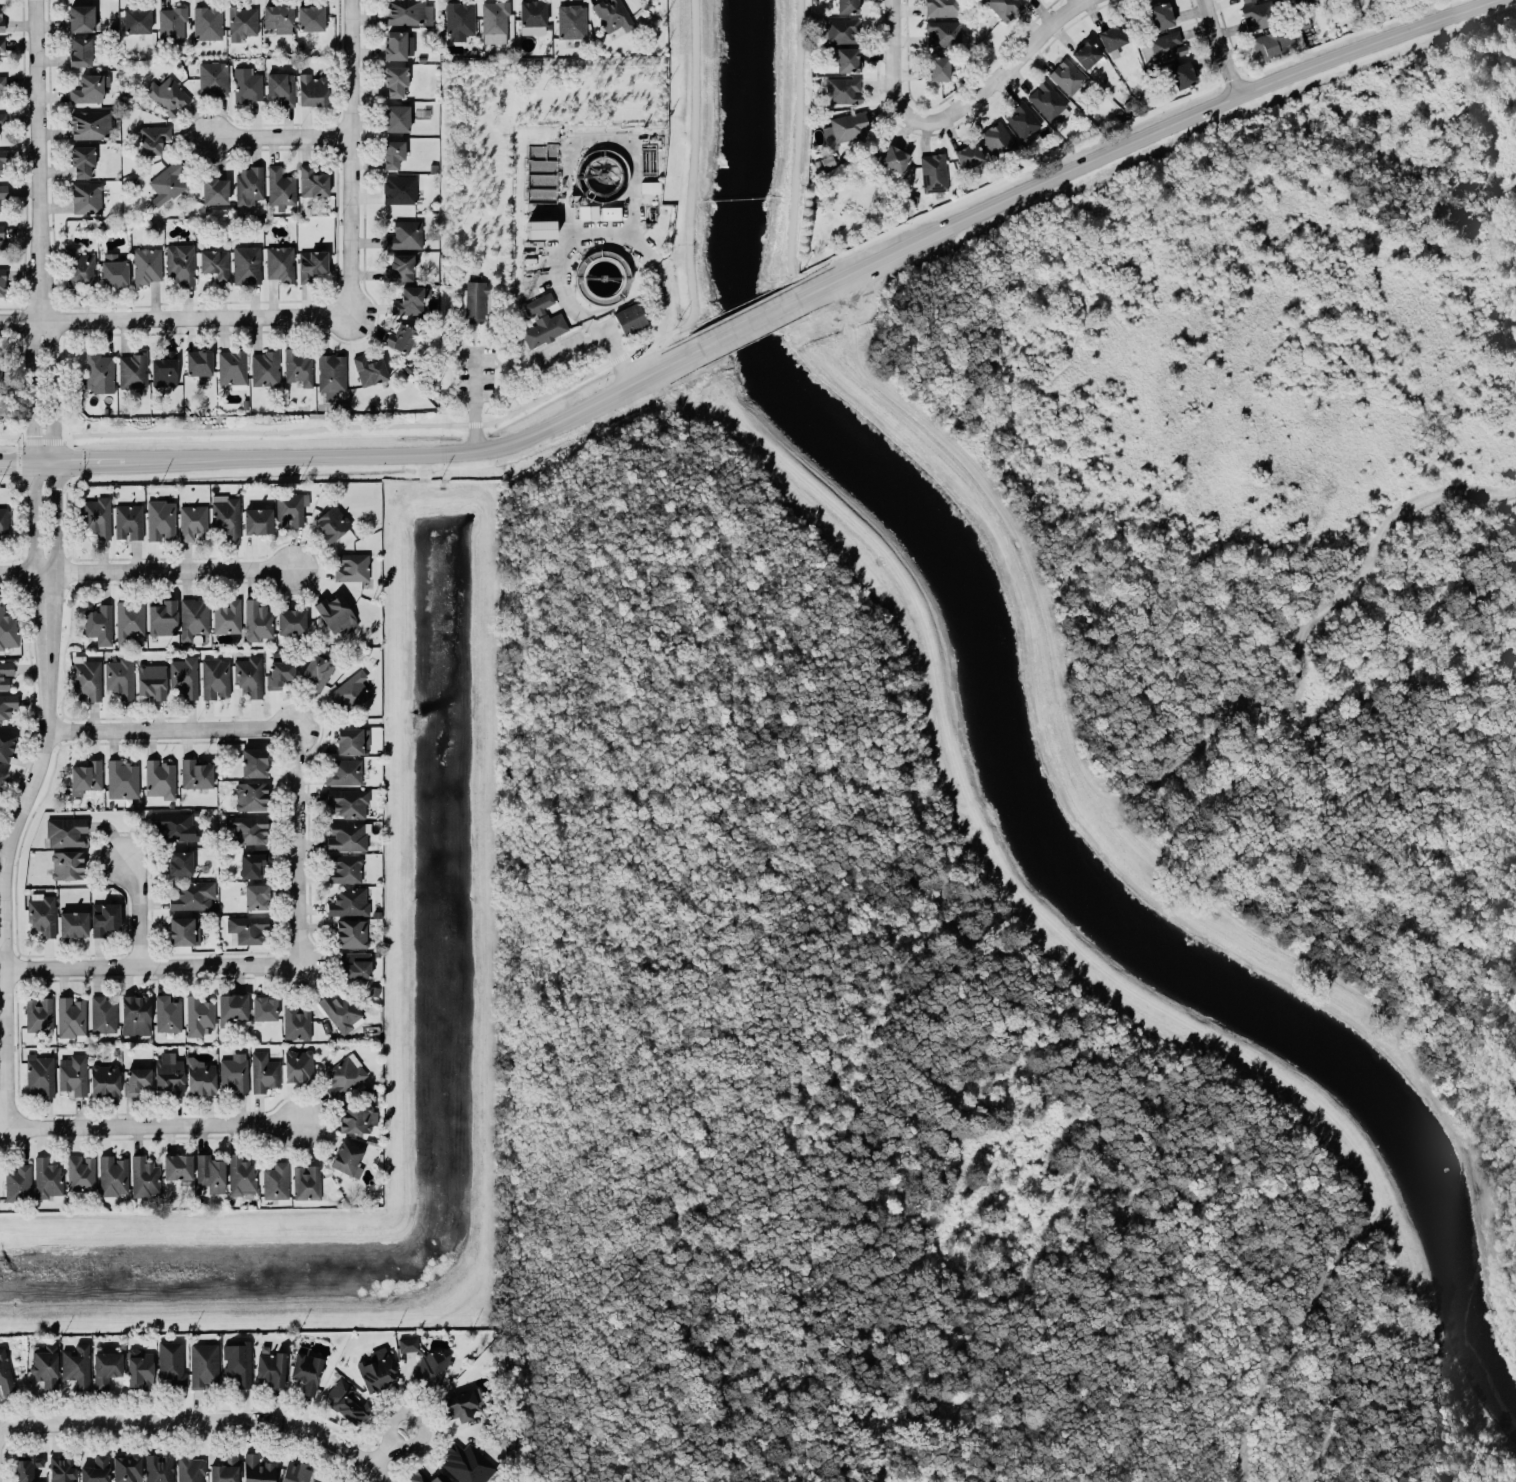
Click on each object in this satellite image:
building: (1241, 0)
building: (1301, 1)
building: (847, 5)
building: (943, 7)
building: (1004, 7)
building: (407, 11)
building: (531, 12)
building: (613, 14)
building: (1160, 14)
building: (1256, 15)
building: (1, 16)
building: (81, 16)
building: (310, 16)
building: (277, 17)
building: (458, 18)
building: (136, 19)
building: (242, 20)
building: (495, 20)
building: (571, 20)
building: (207, 21)
building: (171, 23)
building: (840, 29)
building: (943, 32)
building: (1112, 37)
building: (1273, 42)
building: (398, 43)
road: (1228, 44)
building: (2, 45)
building: (1162, 46)
building: (80, 50)
building: (1086, 53)
building: (847, 58)
road: (898, 59)
building: (937, 67)
road: (1005, 72)
building: (1182, 73)
building: (1067, 75)
building: (212, 77)
building: (395, 79)
building: (2, 83)
building: (246, 83)
building: (90, 85)
building: (281, 86)
building: (312, 88)
building: (844, 89)
building: (167, 93)
building: (1048, 101)
building: (395, 116)
building: (1023, 120)
building: (2, 121)
building: (91, 124)
building: (846, 127)
road: (279, 135)
road: (1131, 136)
building: (151, 137)
building: (998, 138)
building: (393, 153)
building: (968, 154)
road: (351, 155)
building: (3, 158)
road: (38, 160)
building: (82, 160)
building: (892, 160)
building: (599, 170)
building: (933, 171)
building: (312, 181)
building: (168, 183)
building: (248, 183)
building: (650, 185)
building: (279, 186)
building: (399, 188)
building: (214, 189)
building: (3, 192)
building: (86, 196)
road: (1486, 203)
building: (588, 211)
building: (610, 212)
building: (540, 228)
building: (402, 233)
building: (1, 237)
road: (563, 250)
building: (179, 262)
building: (214, 262)
building: (280, 263)
building: (310, 263)
building: (245, 264)
building: (146, 265)
building: (79, 267)
building: (398, 267)
building: (113, 269)
building: (3, 280)
building: (410, 298)
building: (475, 300)
road: (171, 316)
building: (631, 317)
building: (542, 320)
road: (750, 321)
road: (596, 335)
building: (400, 337)
building: (198, 361)
building: (264, 365)
building: (297, 366)
building: (231, 367)
building: (132, 368)
building: (163, 368)
building: (369, 369)
building: (99, 370)
building: (0, 371)
building: (330, 372)
road: (50, 375)
road: (30, 376)
road: (474, 396)
road: (445, 446)
road: (107, 457)
traffic signals: (83, 458)
road: (41, 459)
road: (15, 460)
road: (31, 460)
road: (52, 460)
building: (291, 507)
building: (96, 514)
building: (225, 514)
building: (4, 518)
building: (160, 518)
building: (128, 520)
building: (257, 520)
building: (192, 521)
building: (331, 522)
road: (33, 529)
road: (52, 530)
building: (350, 565)
road: (149, 568)
building: (336, 611)
building: (226, 614)
building: (162, 615)
building: (193, 616)
building: (128, 618)
building: (257, 619)
building: (291, 620)
building: (99, 622)
building: (8, 629)
road: (1302, 641)
building: (279, 669)
building: (317, 670)
building: (6, 674)
building: (183, 674)
building: (248, 674)
building: (119, 675)
building: (86, 676)
building: (215, 677)
building: (151, 680)
building: (349, 690)
building: (7, 704)
road: (143, 731)
building: (351, 739)
building: (5, 745)
building: (253, 761)
river: (1013, 764)
building: (196, 771)
building: (343, 771)
building: (1, 774)
building: (85, 775)
building: (122, 777)
building: (160, 777)
building: (251, 794)
building: (347, 801)
building: (171, 824)
building: (247, 827)
building: (65, 831)
building: (347, 835)
road: (12, 846)
park: (1043, 846)
road: (298, 851)
building: (179, 862)
building: (253, 862)
building: (66, 864)
building: (344, 867)
building: (189, 894)
building: (255, 895)
building: (348, 900)
road: (139, 909)
building: (40, 912)
building: (103, 917)
building: (73, 922)
building: (245, 927)
building: (183, 929)
building: (351, 932)
building: (355, 964)
road: (120, 968)
building: (232, 1005)
building: (264, 1006)
building: (340, 1010)
building: (167, 1011)
building: (39, 1013)
building: (103, 1013)
building: (135, 1014)
building: (198, 1014)
building: (71, 1017)
building: (296, 1020)
building: (298, 1064)
building: (263, 1070)
building: (234, 1071)
building: (72, 1072)
building: (168, 1073)
building: (39, 1074)
building: (201, 1074)
building: (343, 1074)
building: (104, 1078)
building: (136, 1078)
building: (355, 1117)
road: (152, 1126)
building: (346, 1157)
building: (177, 1167)
building: (80, 1171)
building: (210, 1172)
building: (113, 1174)
building: (241, 1174)
building: (144, 1176)
building: (46, 1177)
building: (275, 1180)
building: (306, 1181)
building: (18, 1182)
building: (408, 1343)
building: (236, 1360)
building: (172, 1362)
building: (44, 1365)
building: (75, 1365)
building: (203, 1365)
building: (431, 1366)
building: (140, 1367)
building: (105, 1368)
building: (270, 1368)
building: (376, 1368)
building: (306, 1370)
building: (4, 1373)
building: (346, 1401)
building: (468, 1405)
road: (188, 1420)
road: (388, 1446)
building: (467, 1462)
building: (26, 1467)
building: (62, 1467)
building: (126, 1467)
building: (159, 1467)
building: (191, 1467)
building: (224, 1468)
building: (256, 1468)
building: (95, 1469)
building: (295, 1471)
road: (376, 1473)
road: (392, 1475)
building: (426, 1476)
building: (334, 1481)

